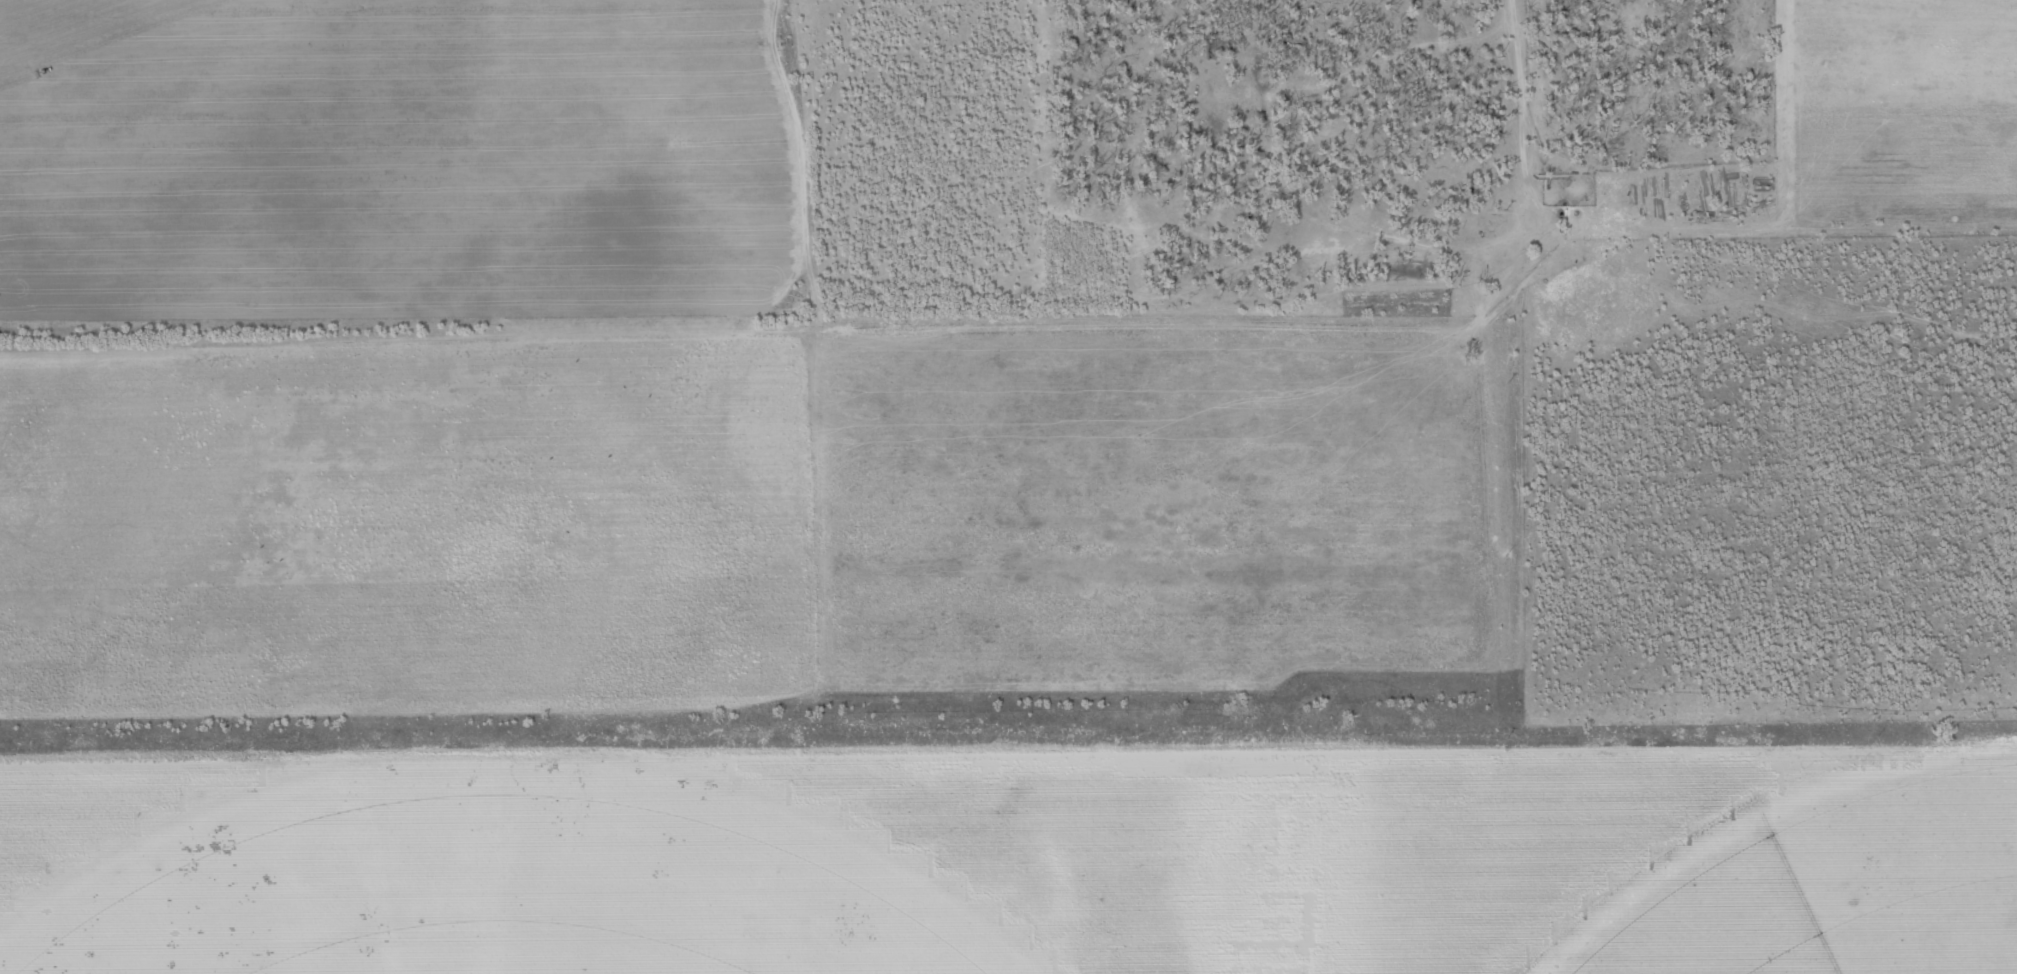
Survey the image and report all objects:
road: (1646, 139)
road: (1147, 177)
road: (800, 337)
road: (1509, 631)

